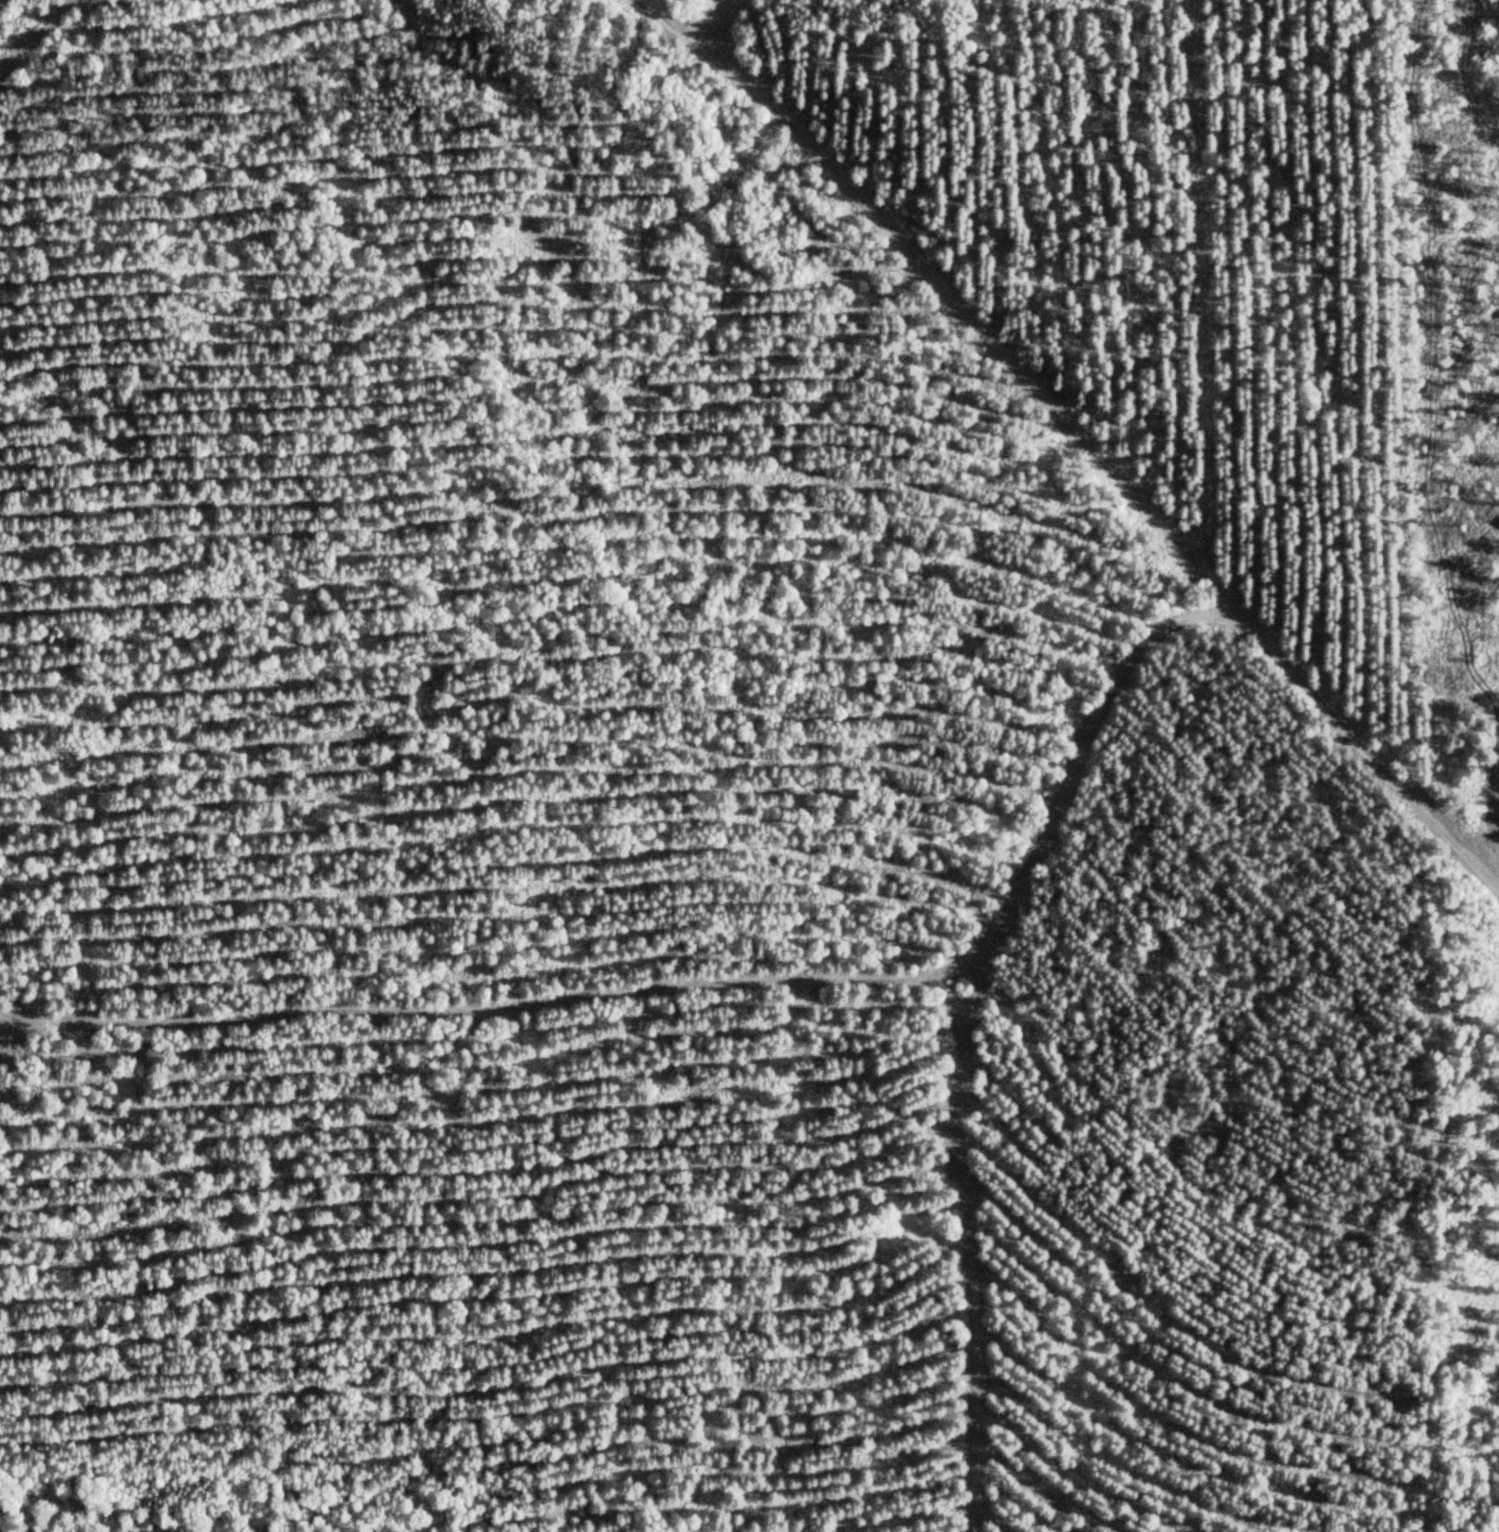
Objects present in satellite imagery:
road: (722, 22)
road: (40, 35)
road: (1076, 429)
road: (487, 995)
road: (952, 1011)

